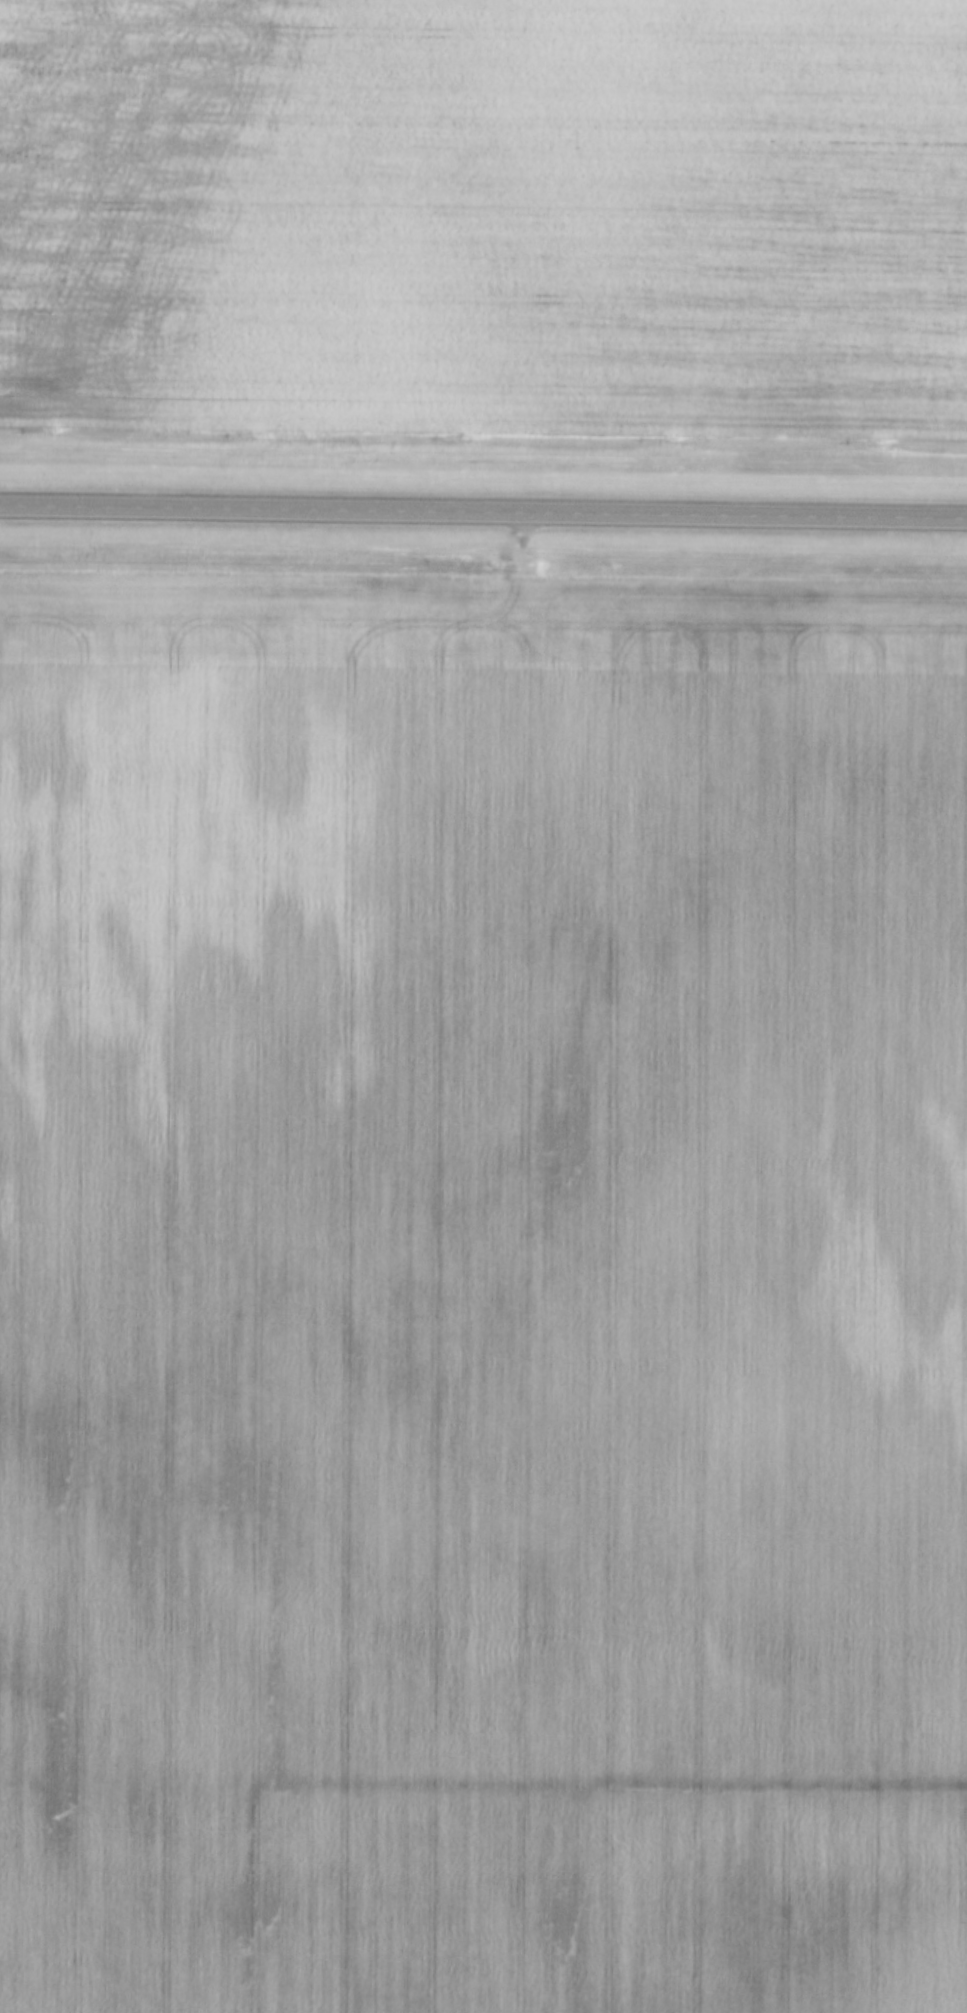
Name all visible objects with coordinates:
road: (483, 517)

